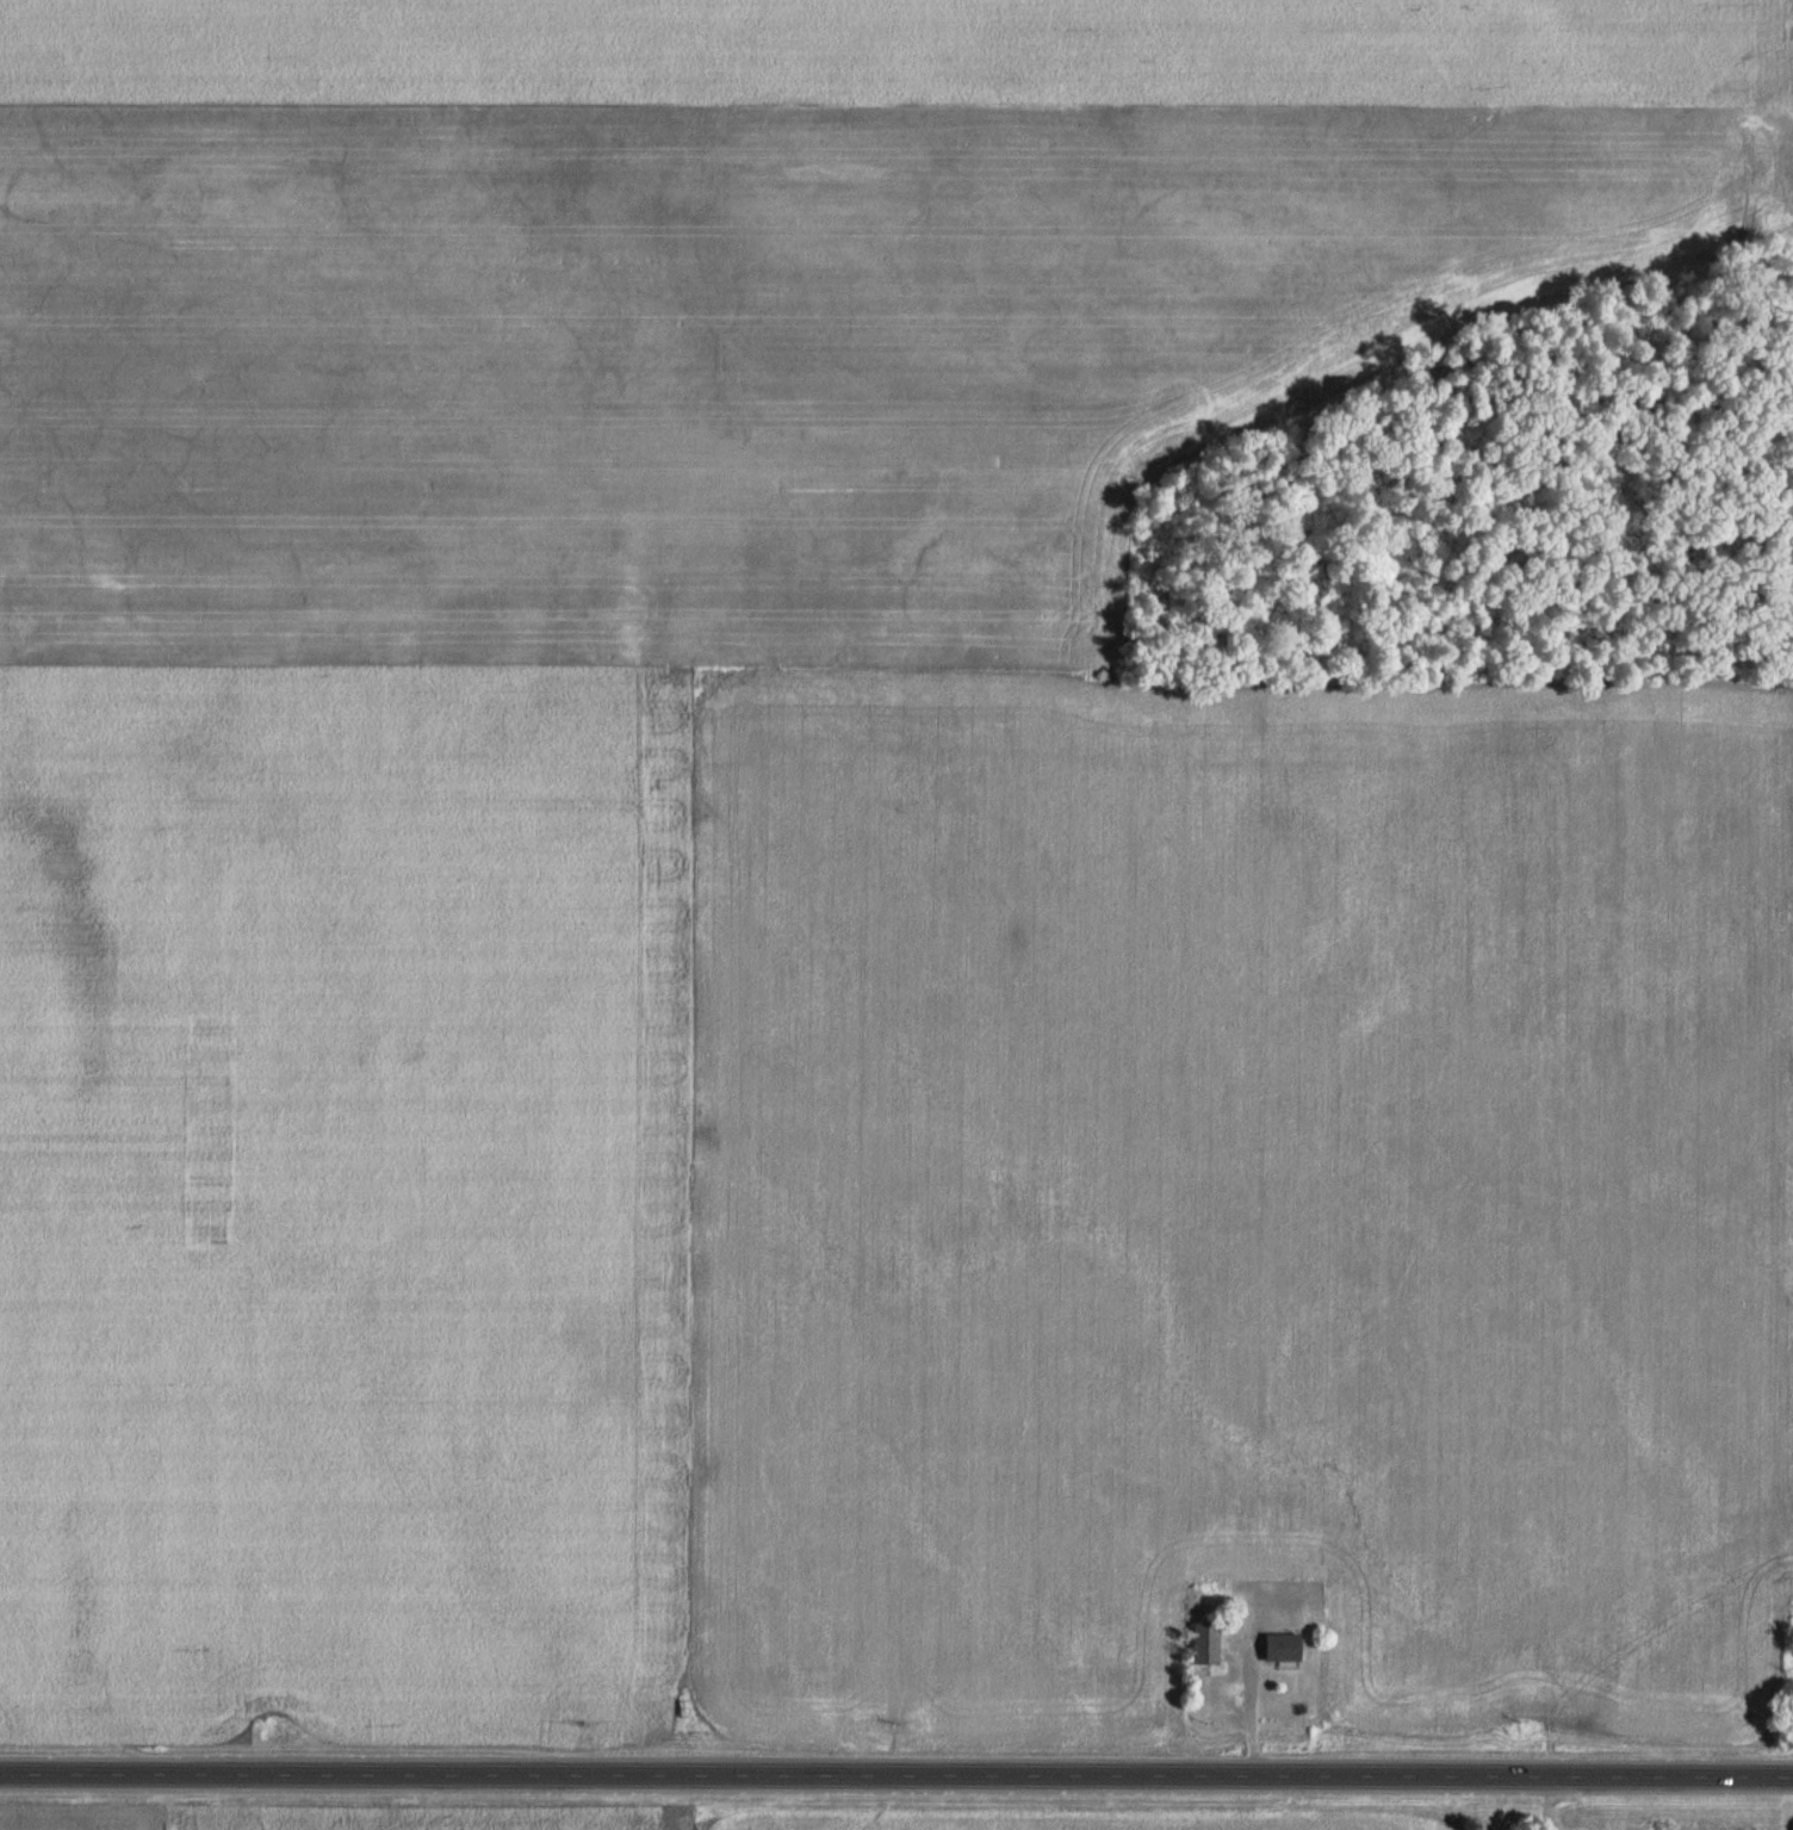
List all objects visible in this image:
building: (1208, 1643)
building: (1285, 1646)
road: (1247, 1708)
road: (896, 1774)

